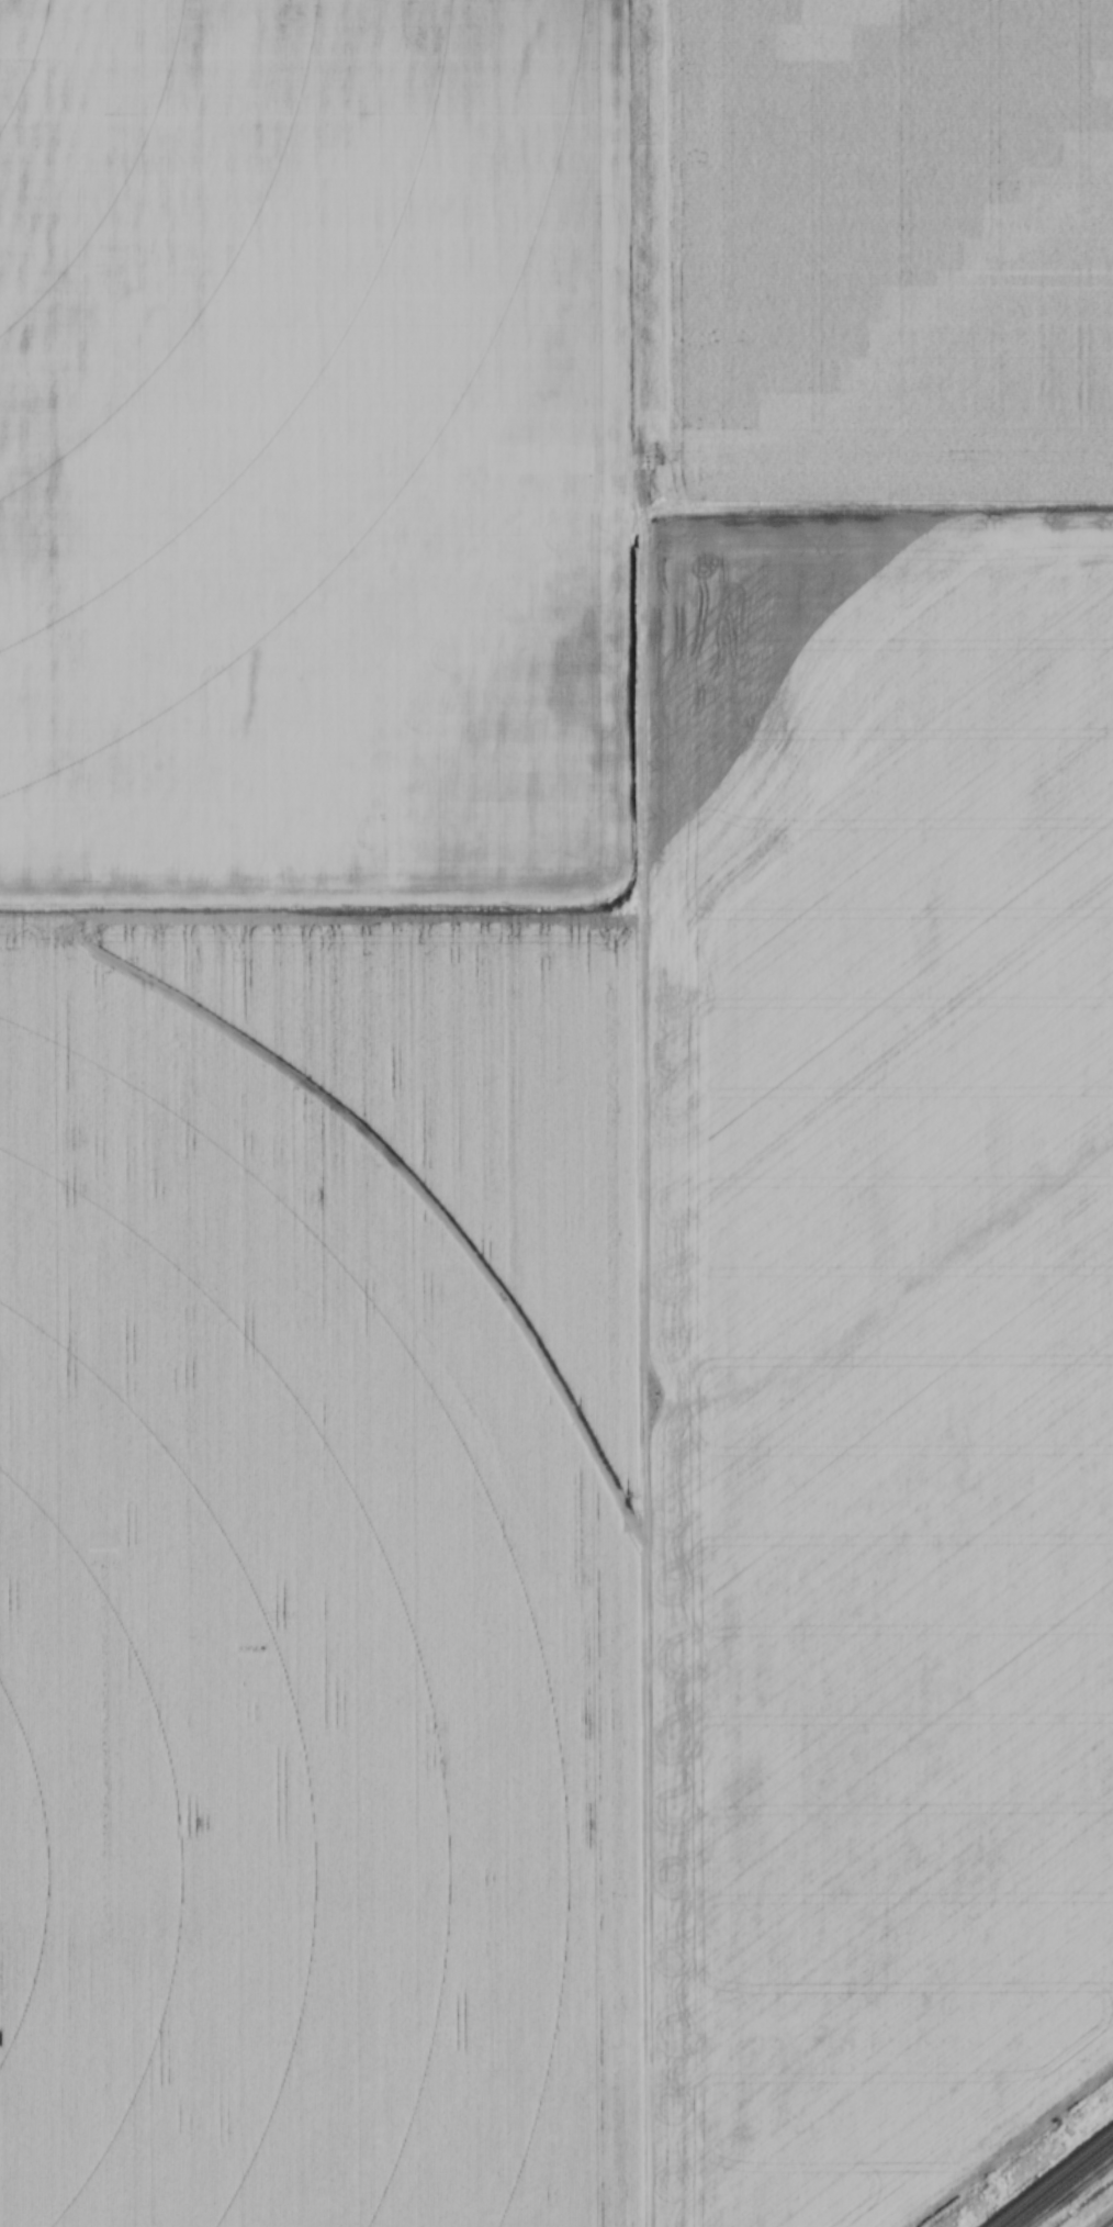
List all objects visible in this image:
railway: (1052, 2178)
railway: (1060, 2184)

